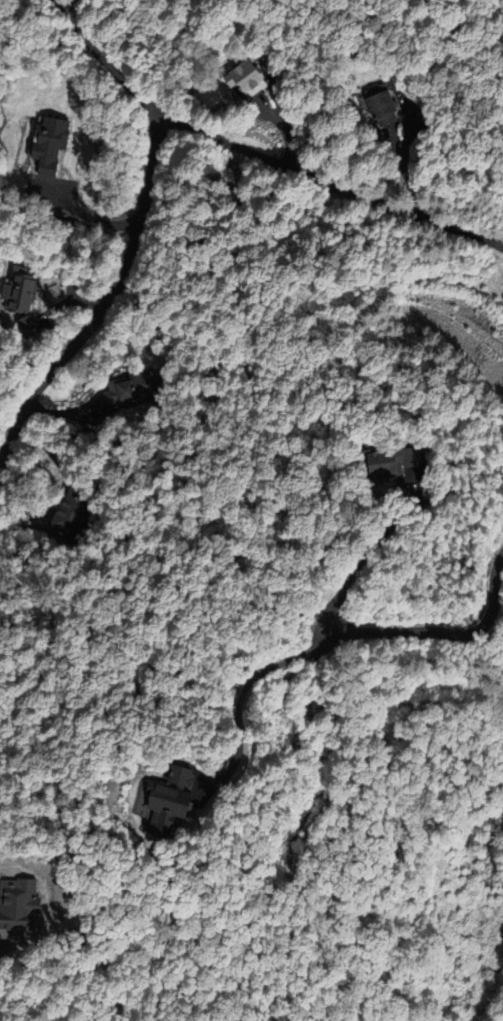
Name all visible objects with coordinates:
road: (65, 5)
building: (243, 79)
building: (379, 108)
road: (328, 183)
road: (137, 230)
building: (19, 300)
building: (385, 463)
road: (359, 562)
road: (436, 632)
road: (286, 694)
road: (240, 700)
building: (160, 797)

